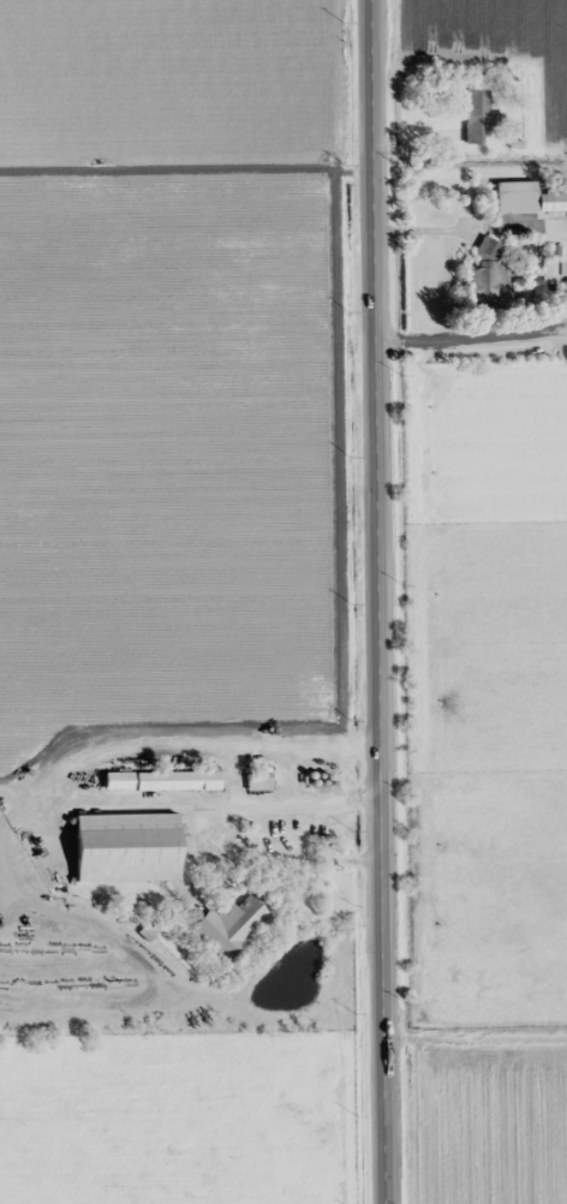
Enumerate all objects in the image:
building: (478, 113)
building: (530, 198)
building: (489, 274)
building: (553, 279)
road: (377, 601)
building: (178, 781)
building: (259, 781)
building: (126, 848)
building: (232, 925)

